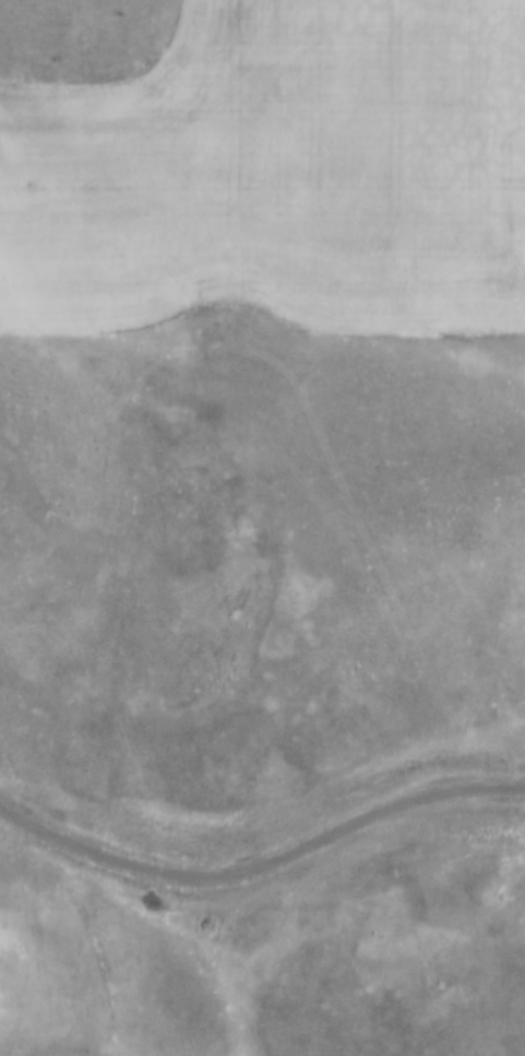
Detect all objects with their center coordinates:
road: (262, 858)

